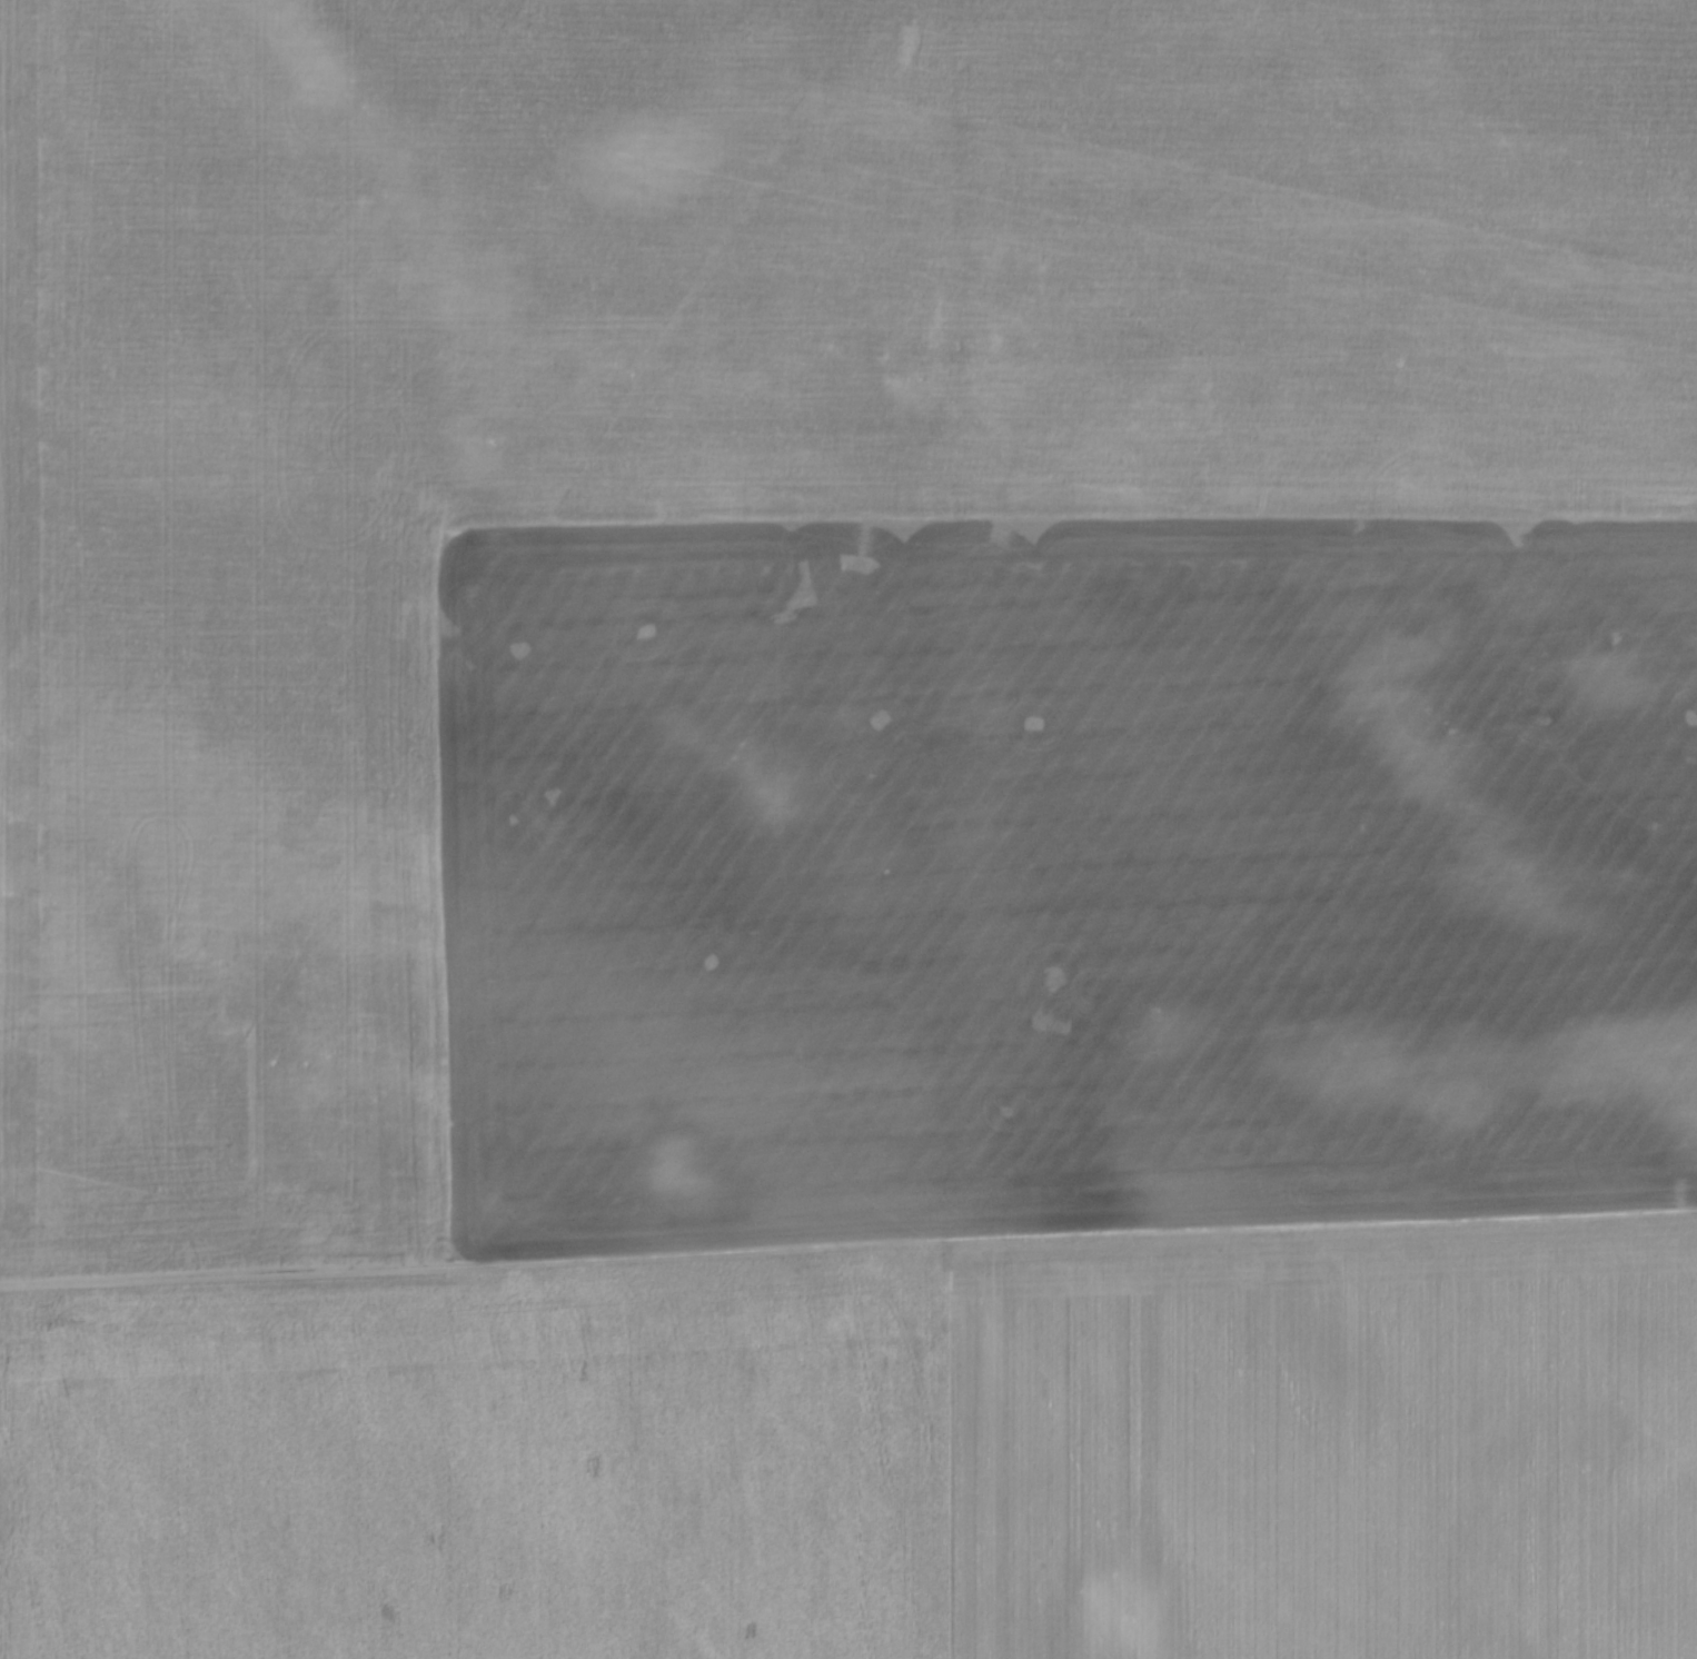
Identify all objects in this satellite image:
crop: (840, 618)
road: (848, 1244)
crop: (873, 1453)

